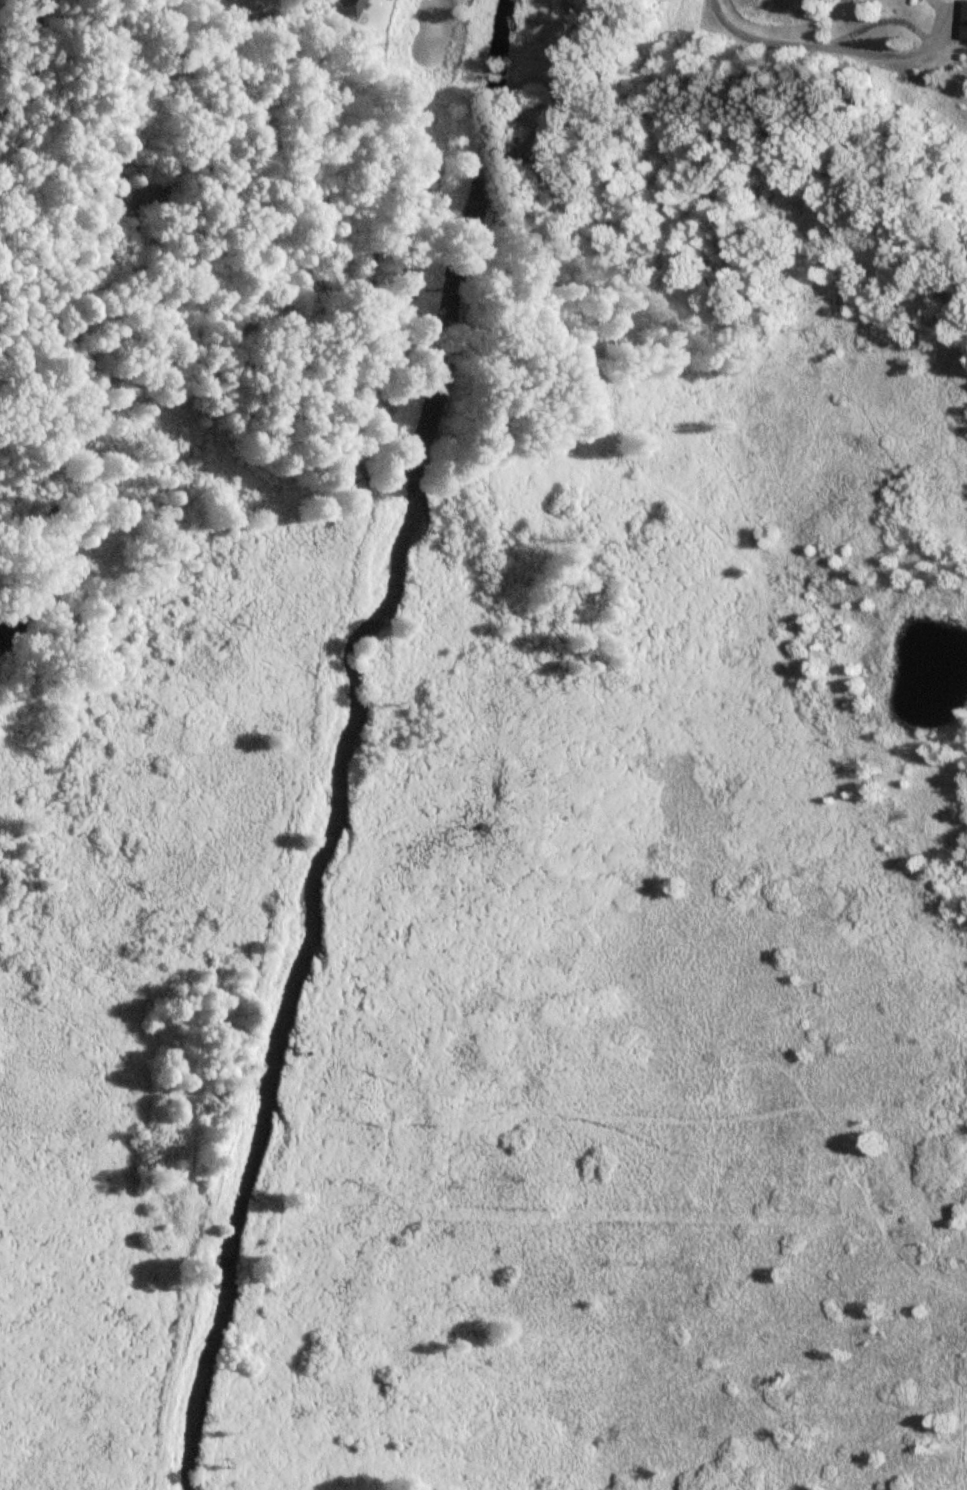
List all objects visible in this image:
building: (913, 0)
building: (343, 8)
road: (875, 22)
building: (965, 22)
road: (751, 40)
road: (890, 57)

